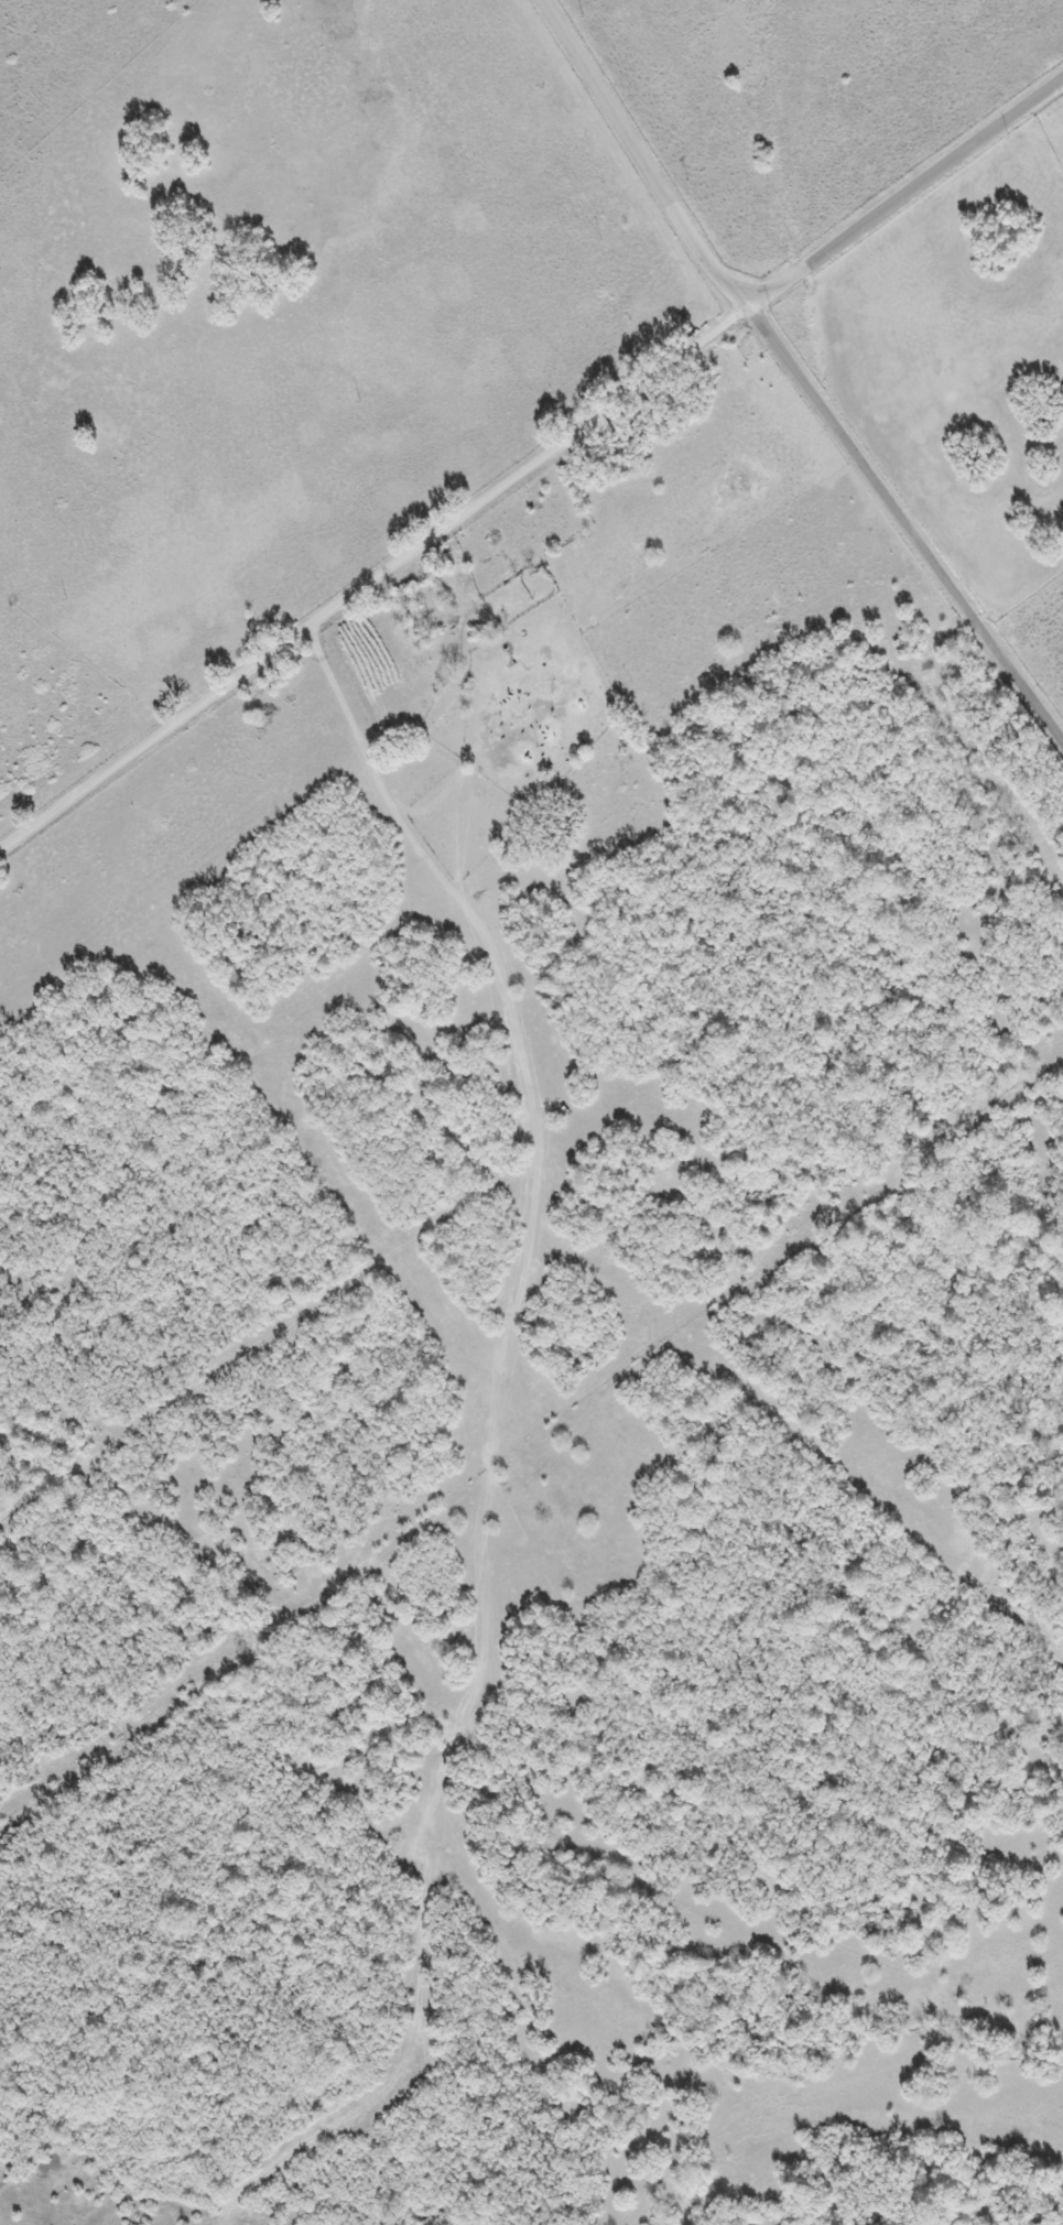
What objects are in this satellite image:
park: (1053, 127)
road: (646, 154)
road: (907, 192)
road: (908, 518)
road: (375, 575)
road: (512, 1088)

